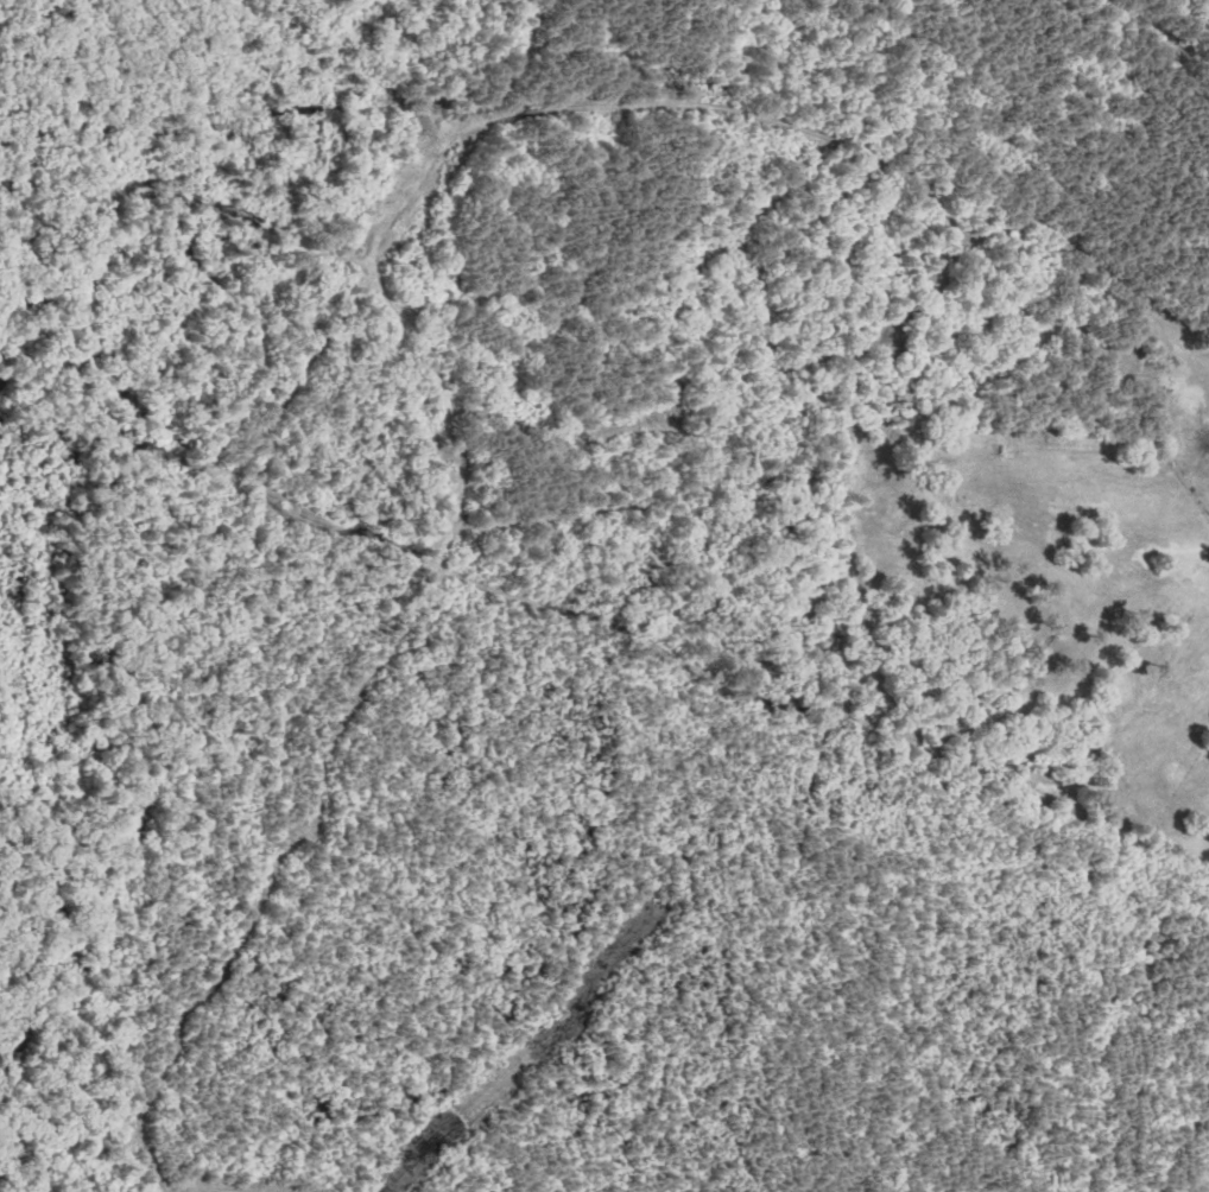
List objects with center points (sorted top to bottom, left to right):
building: (1053, 691)

